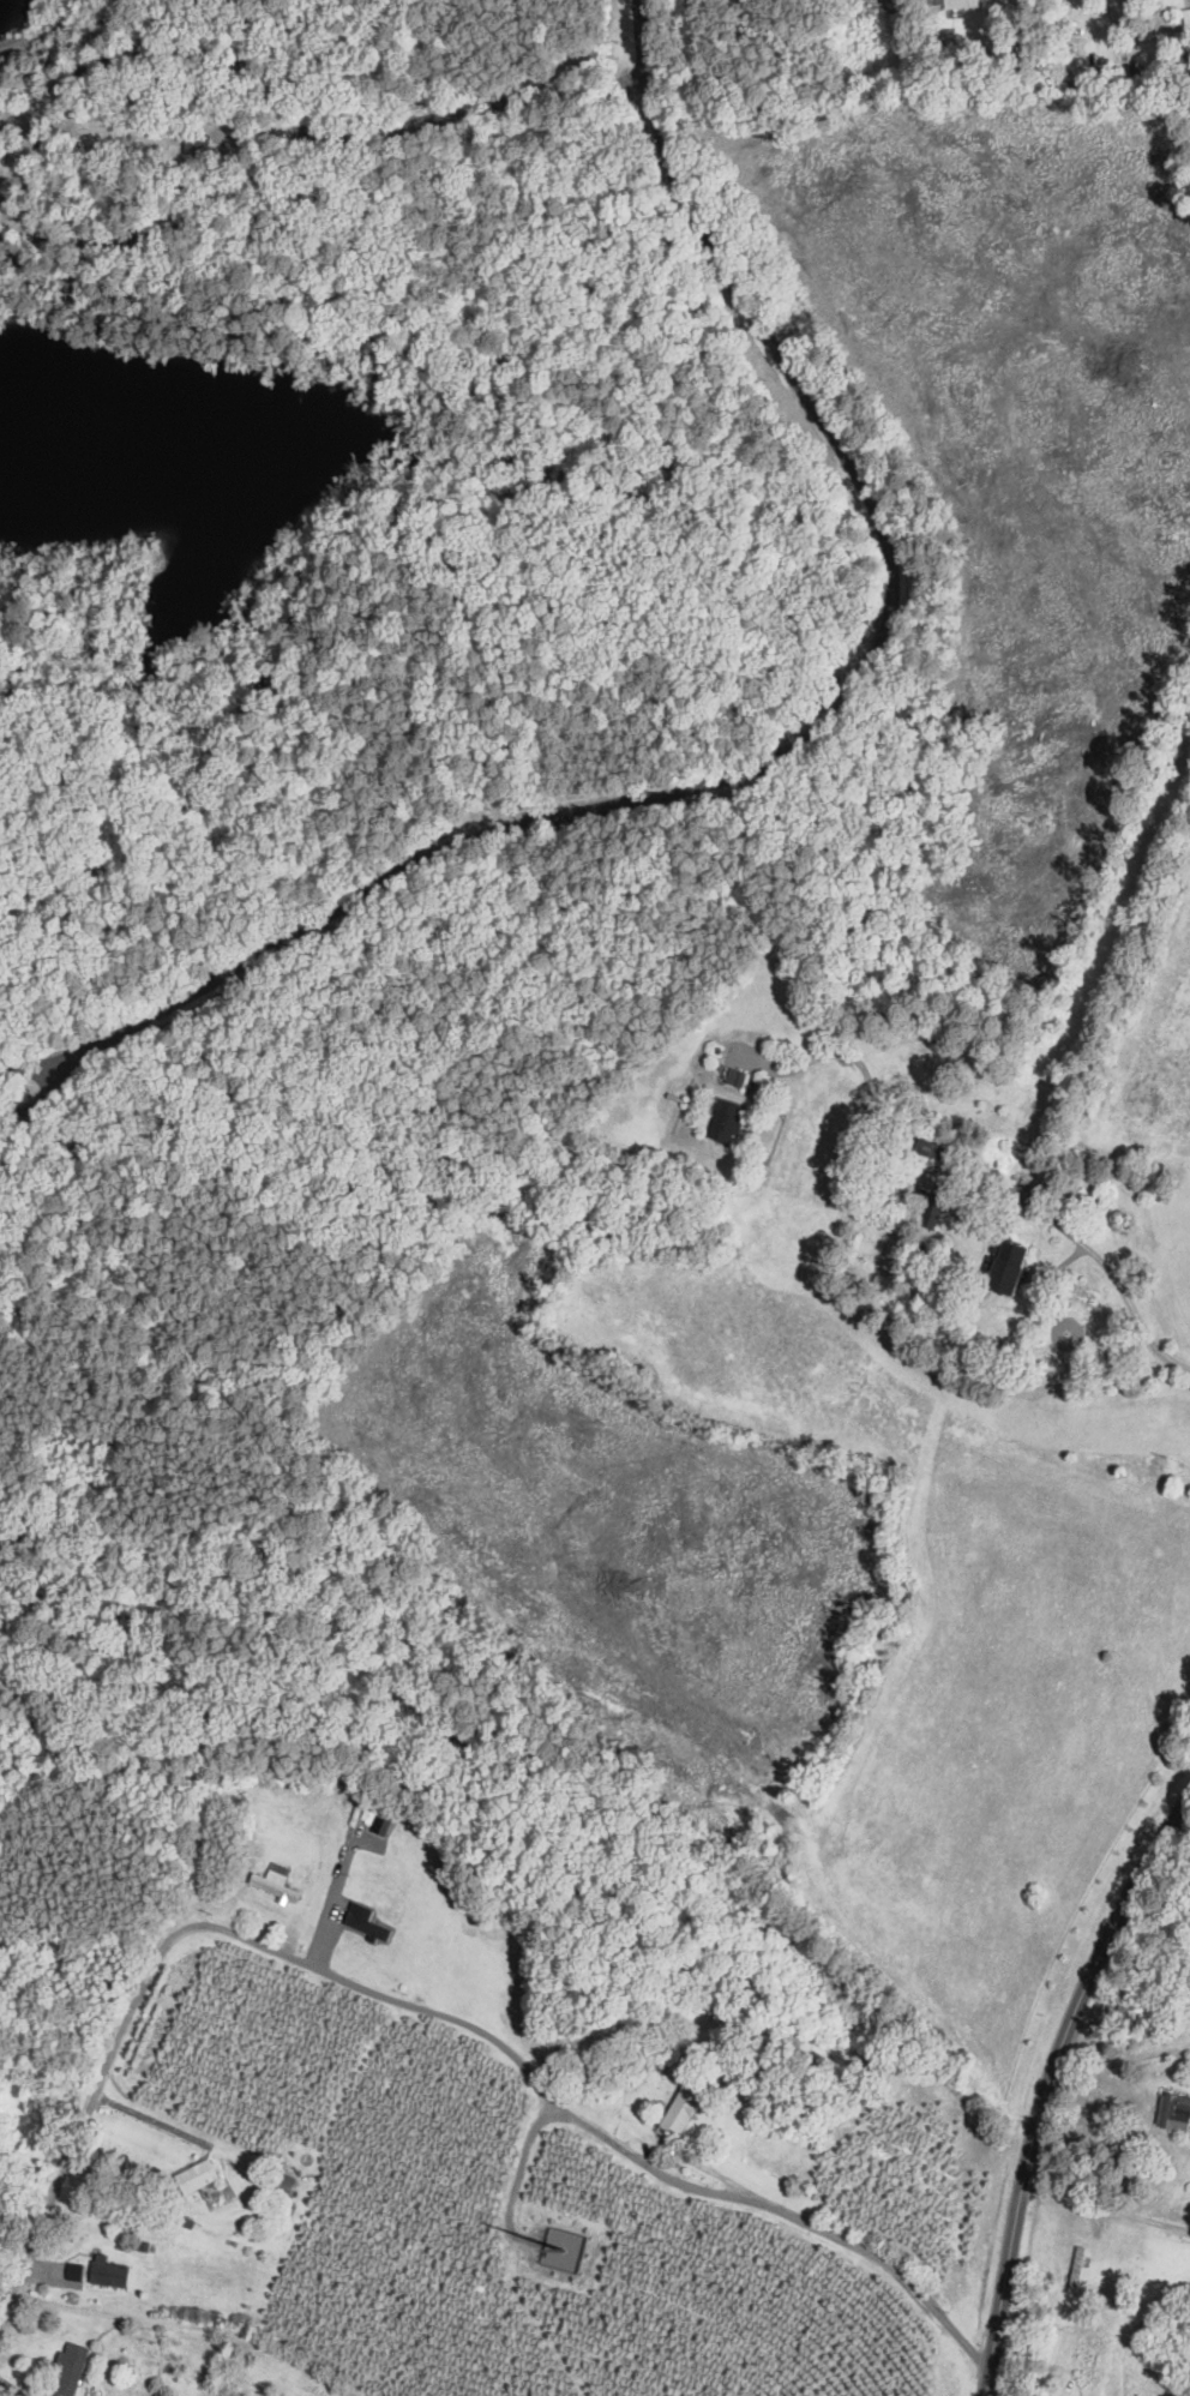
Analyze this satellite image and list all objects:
building: (960, 4)
building: (1075, 68)
road: (500, 122)
building: (197, 146)
road: (24, 222)
road: (569, 559)
road: (747, 755)
park: (375, 780)
road: (59, 855)
building: (734, 1077)
building: (1112, 1088)
building: (725, 1121)
building: (926, 1147)
road: (960, 1171)
building: (930, 1212)
building: (1005, 1266)
building: (276, 1882)
building: (371, 1926)
road: (1126, 2056)
road: (1048, 2094)
building: (679, 2112)
building: (1173, 2113)
road: (585, 2119)
road: (79, 2143)
building: (196, 2176)
building: (278, 2184)
road: (1106, 2210)
building: (1076, 2270)
building: (108, 2272)
building: (70, 2370)
road: (997, 2390)

